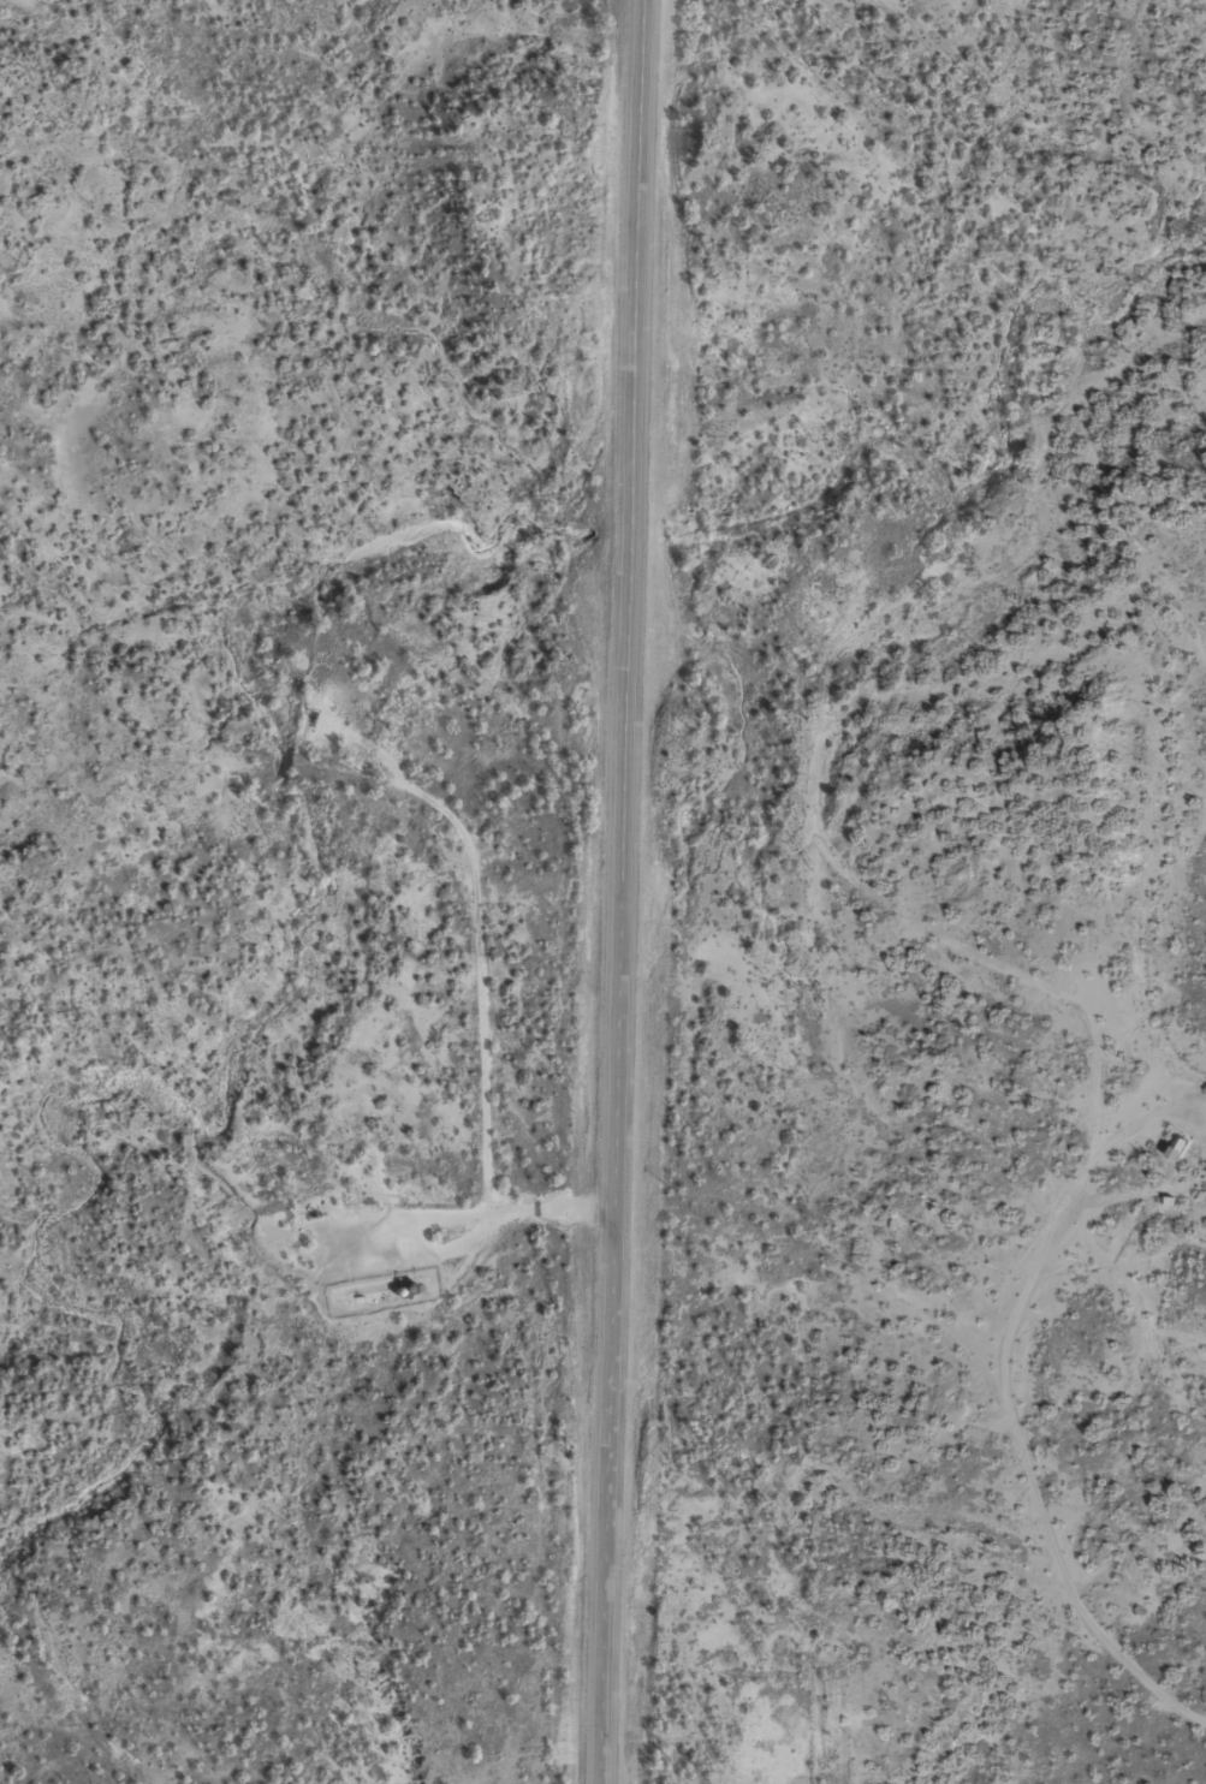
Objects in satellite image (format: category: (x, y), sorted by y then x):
petroleum well: (317, 714)
road: (622, 891)
building: (1180, 1147)
petroleum well: (317, 1213)

